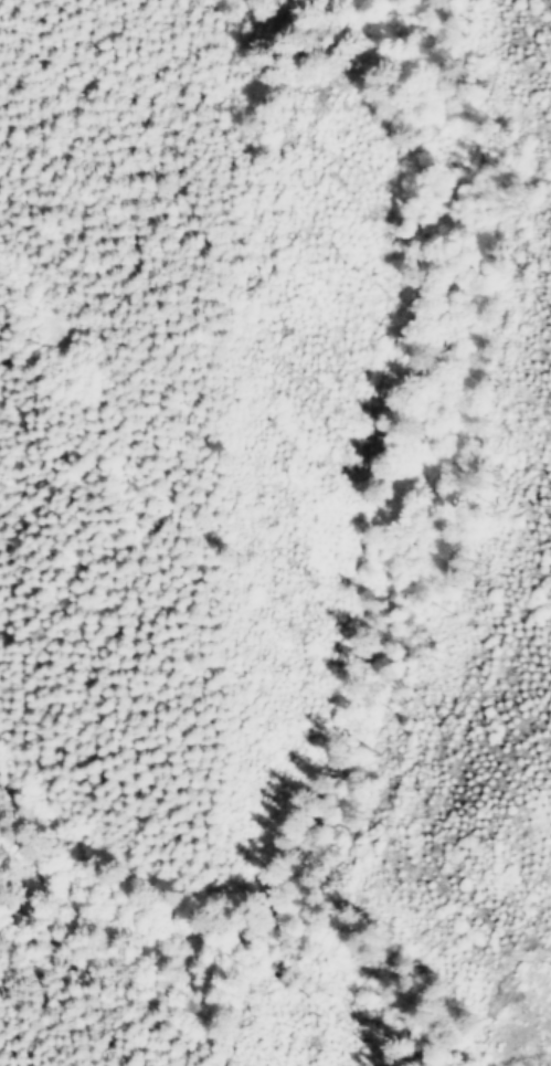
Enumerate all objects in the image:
road: (452, 1039)

